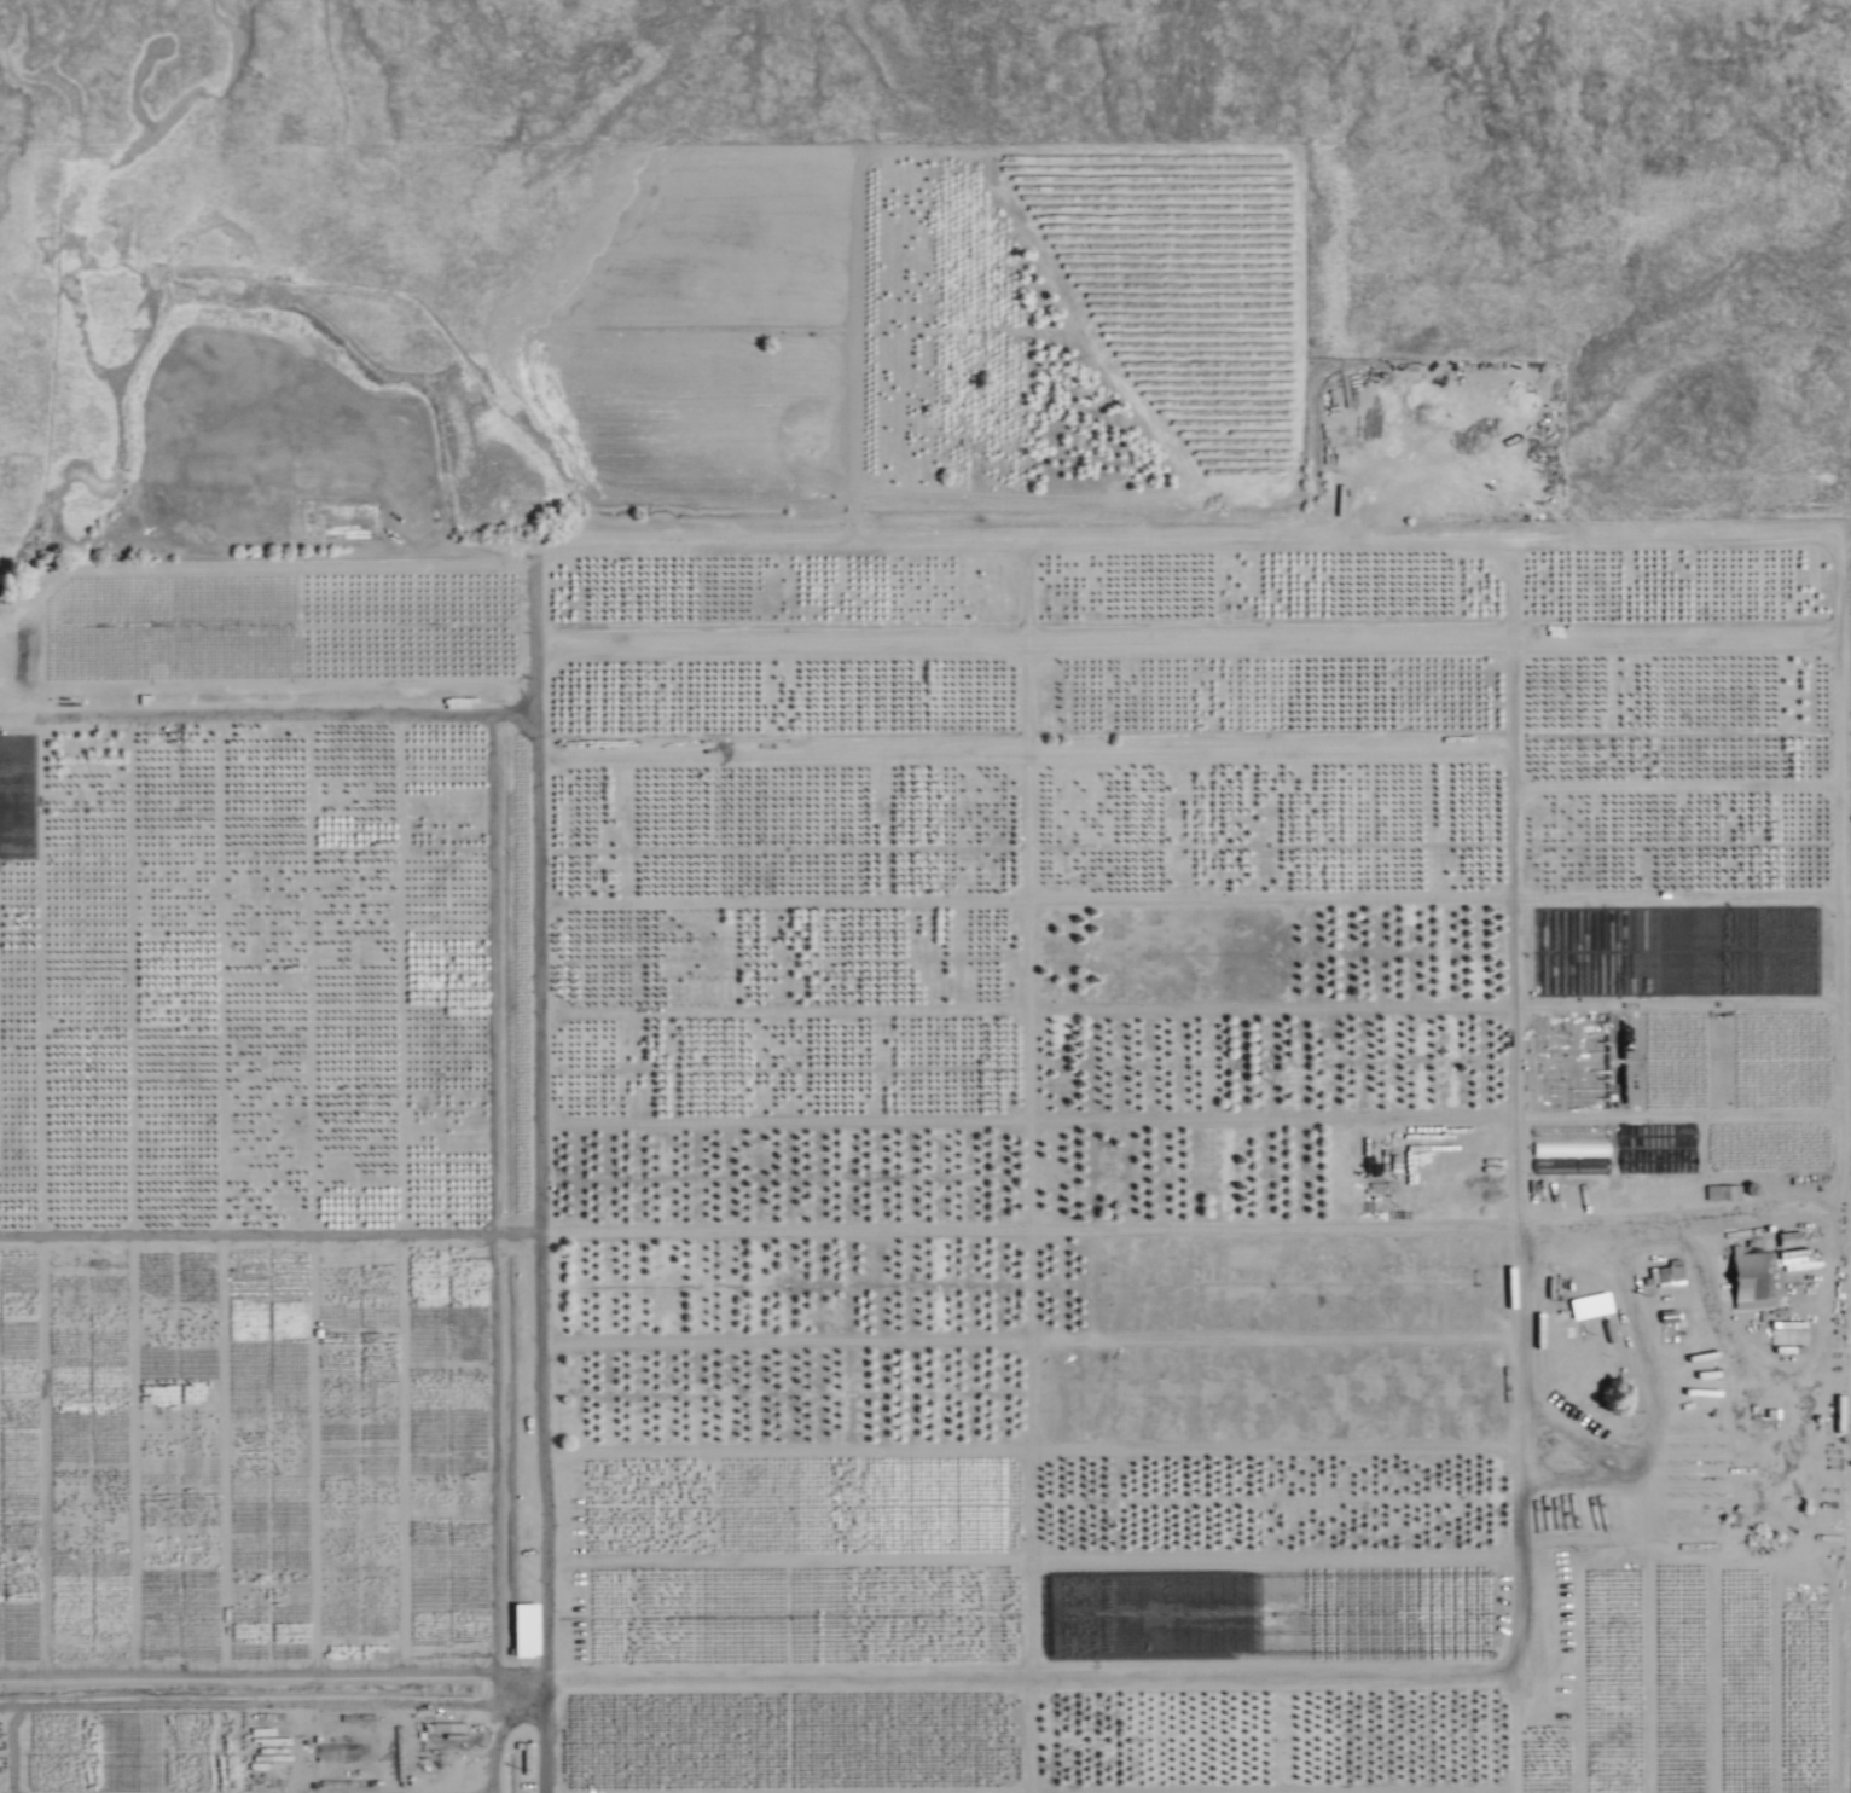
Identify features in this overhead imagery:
building: (1568, 1063)
building: (1655, 1149)
building: (1568, 1150)
building: (1762, 1275)
road: (1527, 1620)

